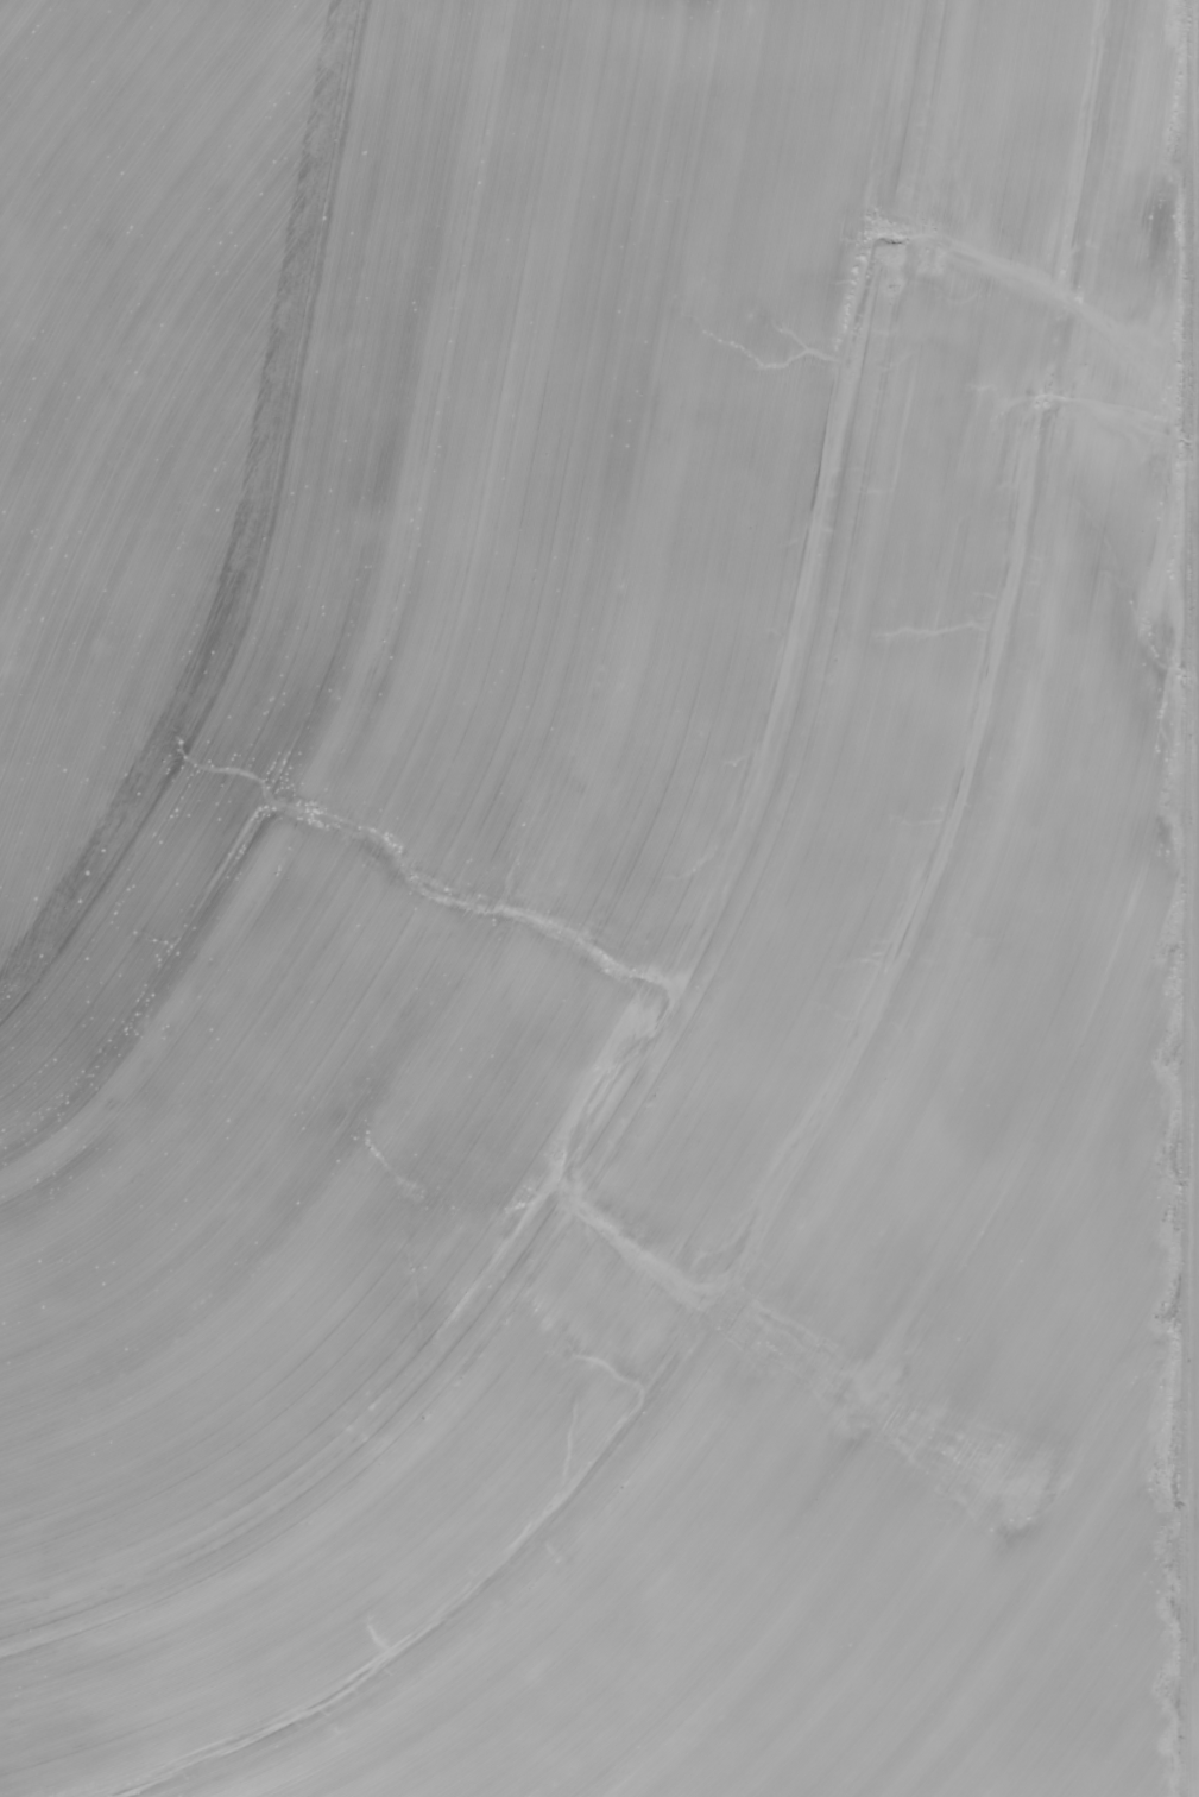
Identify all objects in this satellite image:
road: (1195, 1263)

